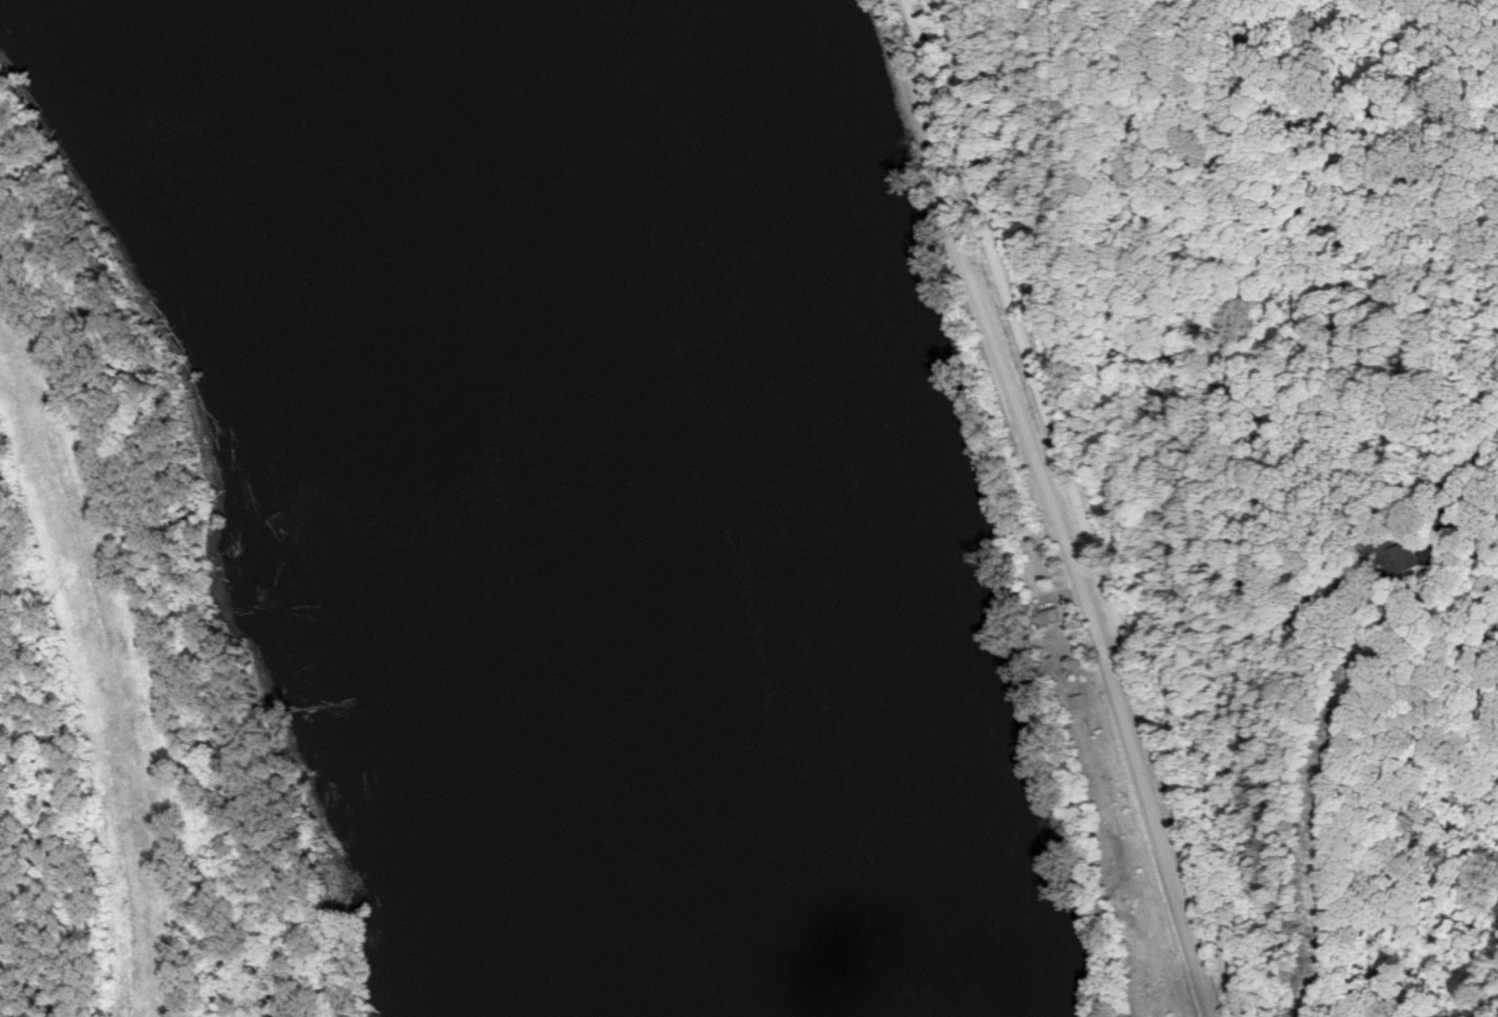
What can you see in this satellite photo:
road: (1469, 498)
road: (1047, 506)
river: (707, 508)
road: (1071, 508)
building: (1416, 557)
building: (1047, 617)
road: (2, 732)

